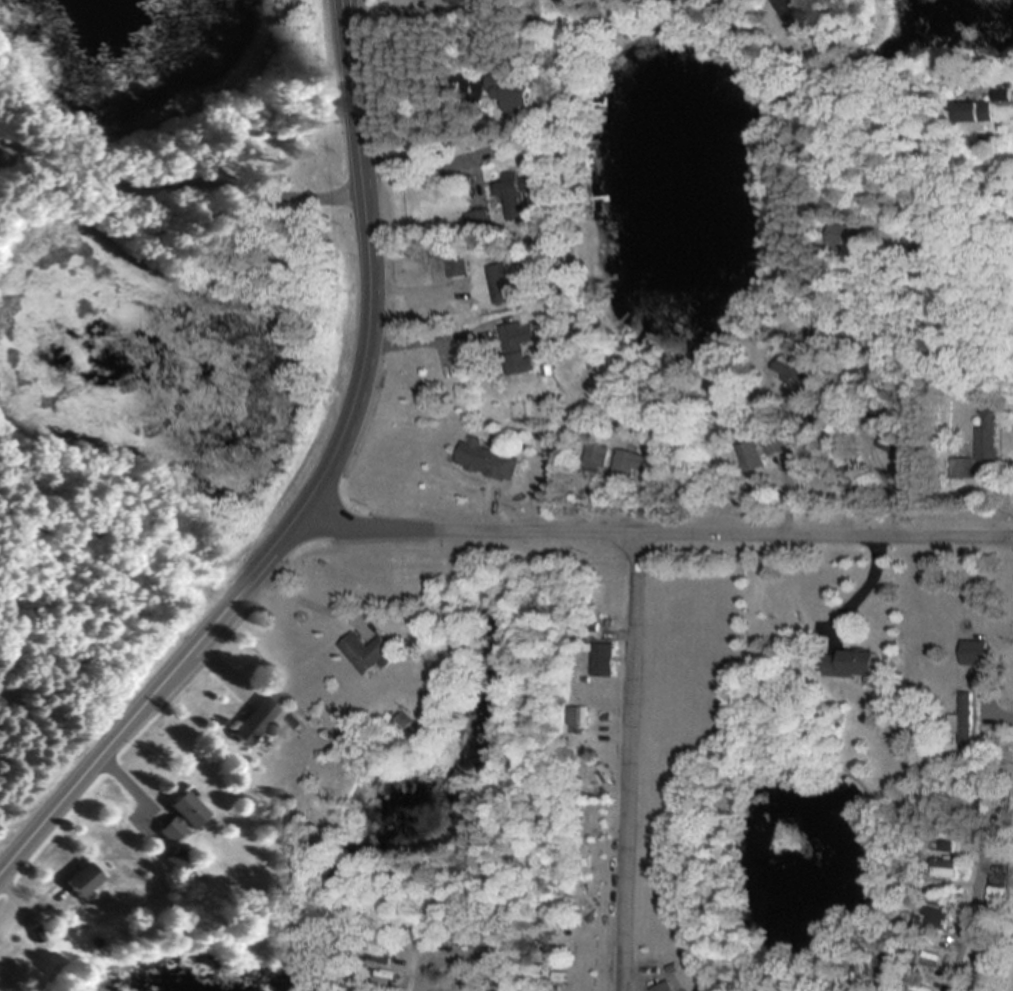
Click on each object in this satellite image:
building: (790, 10)
building: (514, 93)
building: (999, 96)
road: (406, 110)
building: (963, 112)
road: (177, 184)
building: (513, 197)
road: (463, 213)
building: (481, 220)
road: (957, 261)
building: (500, 282)
building: (473, 353)
building: (520, 363)
building: (793, 372)
building: (880, 412)
building: (985, 436)
building: (596, 456)
road: (876, 458)
building: (486, 461)
building: (631, 464)
building: (959, 468)
road: (318, 487)
road: (653, 535)
road: (855, 592)
building: (366, 652)
building: (602, 660)
building: (848, 664)
building: (982, 680)
building: (577, 717)
building: (962, 720)
building: (248, 721)
road: (629, 763)
building: (174, 818)
building: (585, 856)
building: (941, 869)
building: (75, 880)
building: (385, 954)
building: (889, 959)
building: (927, 959)
road: (461, 963)
building: (384, 981)
building: (664, 988)
building: (520, 989)

